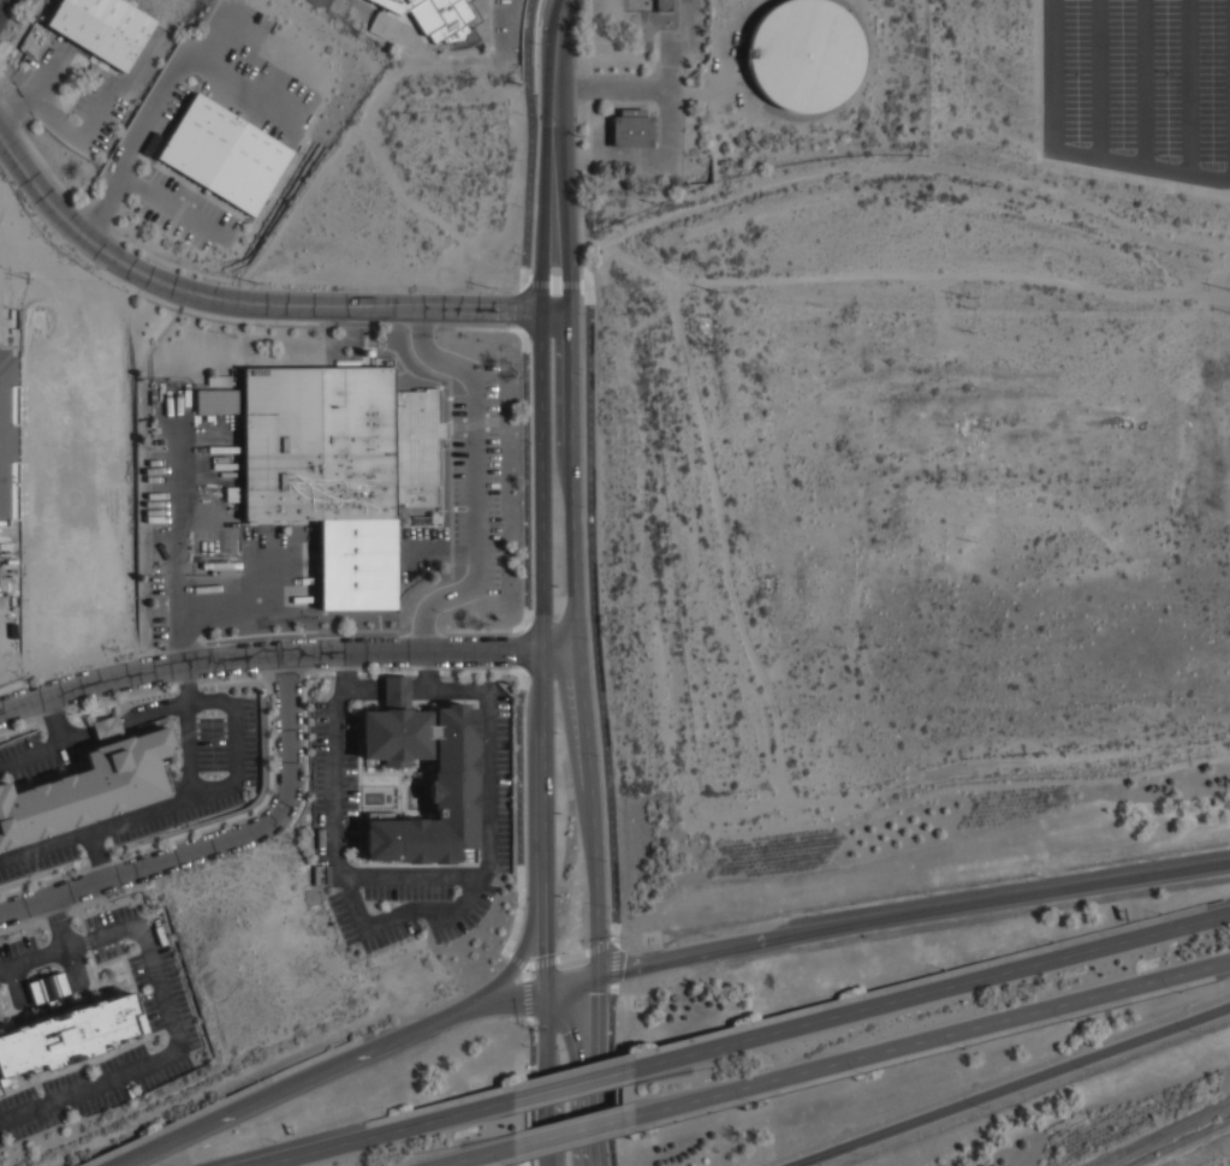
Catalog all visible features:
road: (2, 5)
parking lot: (6, 10)
building: (436, 16)
park: (441, 26)
road: (517, 28)
building: (94, 29)
parking lot: (510, 29)
road: (555, 42)
building: (804, 54)
storage tank: (804, 54)
road: (143, 63)
parking lot: (251, 72)
parking lot: (1141, 83)
road: (38, 87)
road: (611, 87)
road: (669, 90)
road: (97, 112)
parking lot: (100, 112)
road: (54, 118)
building: (632, 132)
road: (131, 137)
building: (225, 153)
road: (669, 160)
parking lot: (662, 162)
road: (133, 180)
parking lot: (186, 212)
road: (189, 212)
road: (252, 303)
road: (430, 357)
building: (219, 380)
building: (219, 400)
building: (5, 440)
building: (340, 466)
parking lot: (477, 478)
road: (476, 480)
road: (534, 488)
road: (574, 530)
road: (542, 536)
road: (290, 543)
road: (179, 553)
parking lot: (283, 567)
road: (311, 597)
road: (220, 617)
road: (428, 652)
road: (285, 653)
road: (345, 677)
road: (387, 686)
road: (598, 696)
road: (124, 721)
road: (190, 742)
road: (31, 751)
parking lot: (31, 756)
building: (94, 781)
parking lot: (335, 783)
road: (191, 784)
building: (454, 789)
parking lot: (210, 790)
road: (156, 808)
road: (218, 841)
road: (99, 855)
road: (414, 874)
road: (1005, 899)
road: (406, 910)
road: (59, 923)
road: (66, 948)
parking lot: (17, 951)
road: (528, 958)
road: (664, 959)
road: (20, 963)
traffic signals: (598, 974)
building: (50, 987)
road: (50, 987)
traffic signals: (547, 988)
road: (931, 992)
road: (512, 997)
parking lot: (166, 1001)
road: (528, 1024)
road: (547, 1034)
building: (71, 1035)
road: (932, 1041)
road: (176, 1052)
road: (328, 1069)
road: (599, 1070)
road: (569, 1084)
road: (1006, 1089)
road: (547, 1123)
road: (380, 1132)
road: (572, 1134)
road: (148, 1149)
road: (480, 1158)

